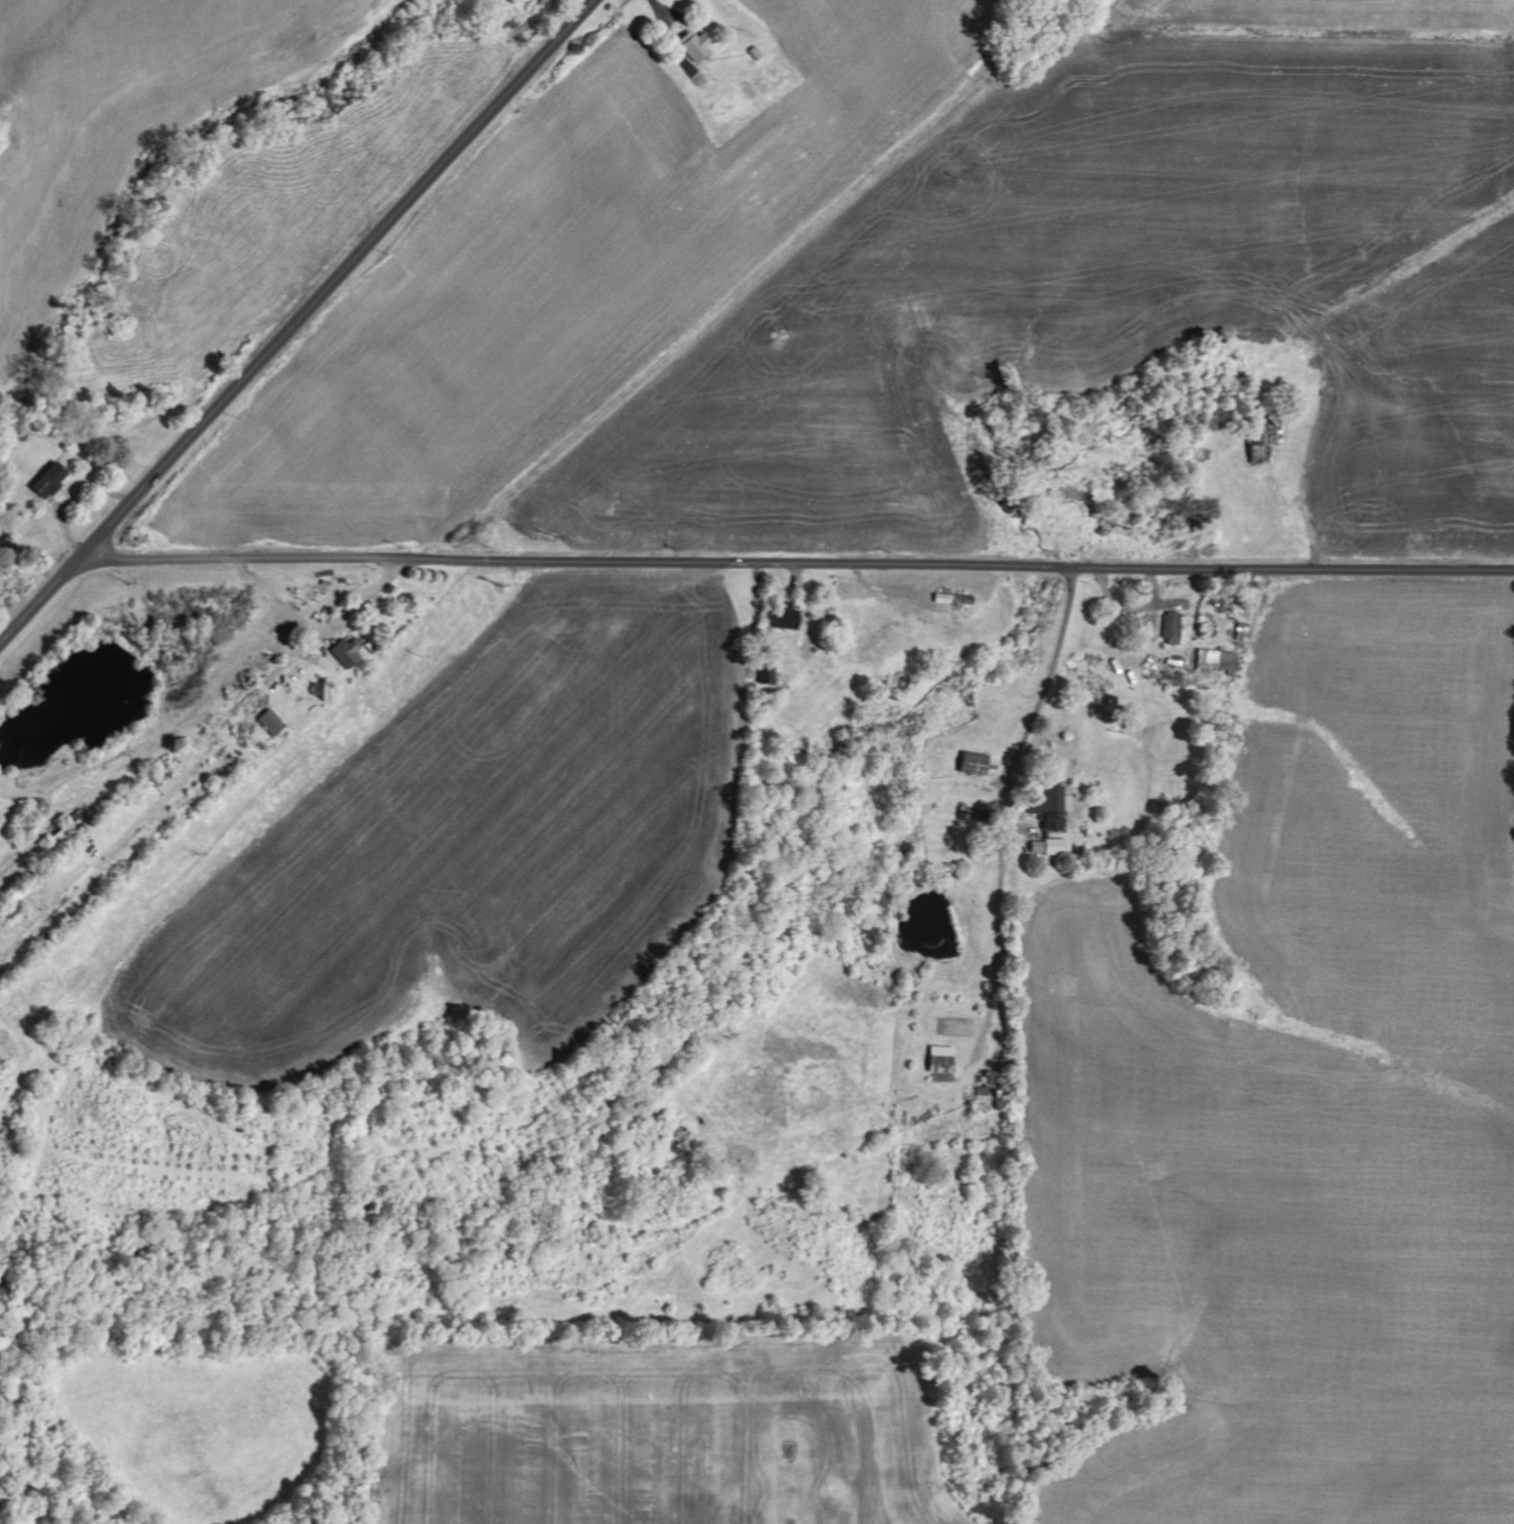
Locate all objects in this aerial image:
building: (699, 46)
road: (296, 321)
building: (53, 482)
road: (798, 561)
road: (372, 605)
building: (1175, 629)
building: (351, 653)
building: (1223, 661)
building: (769, 676)
building: (273, 723)
road: (1025, 737)
building: (979, 765)

